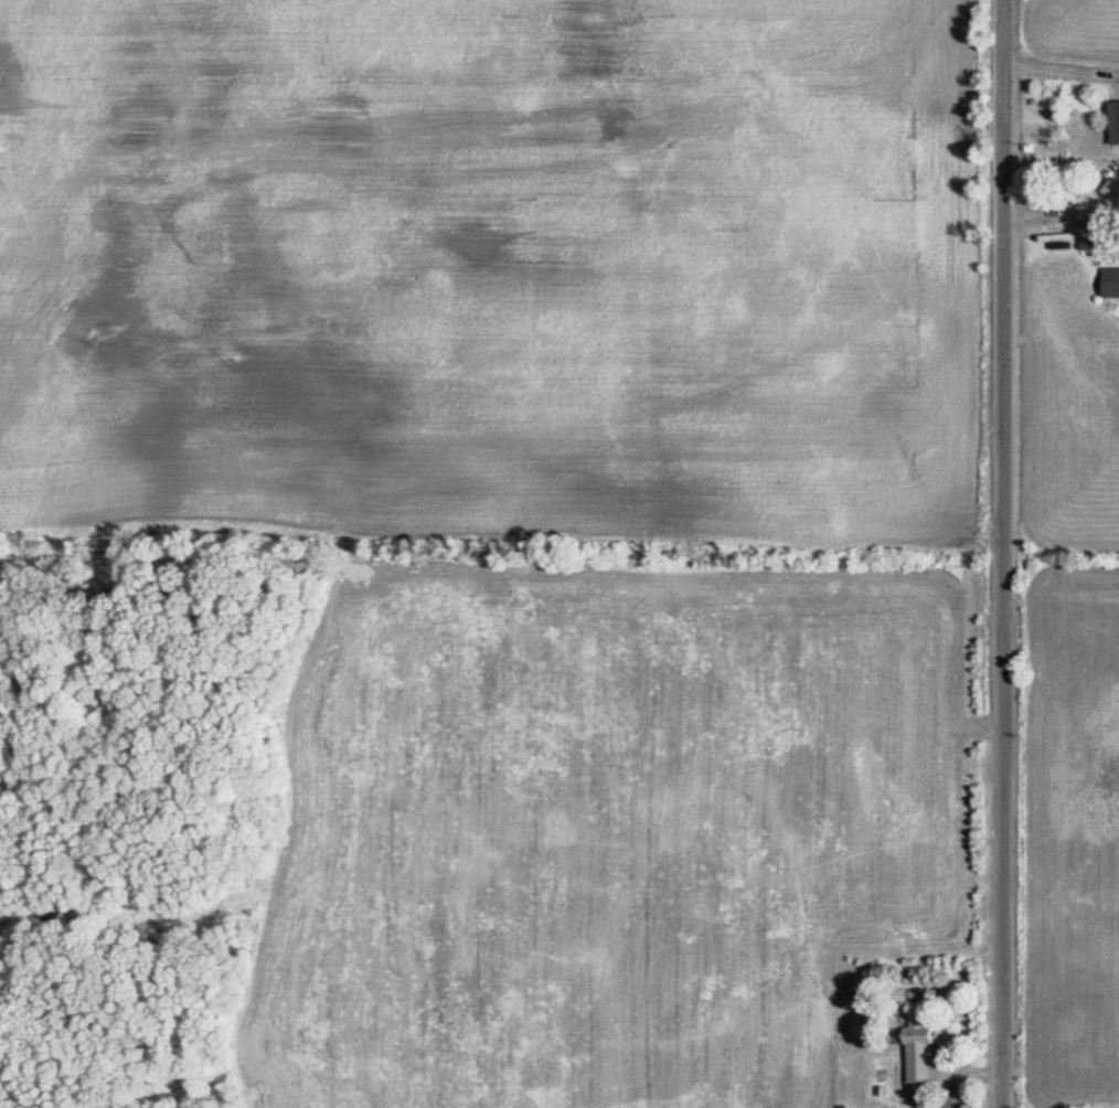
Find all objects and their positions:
building: (1113, 191)
building: (1097, 222)
building: (1113, 286)
road: (992, 553)
building: (925, 1050)
road: (959, 1083)

